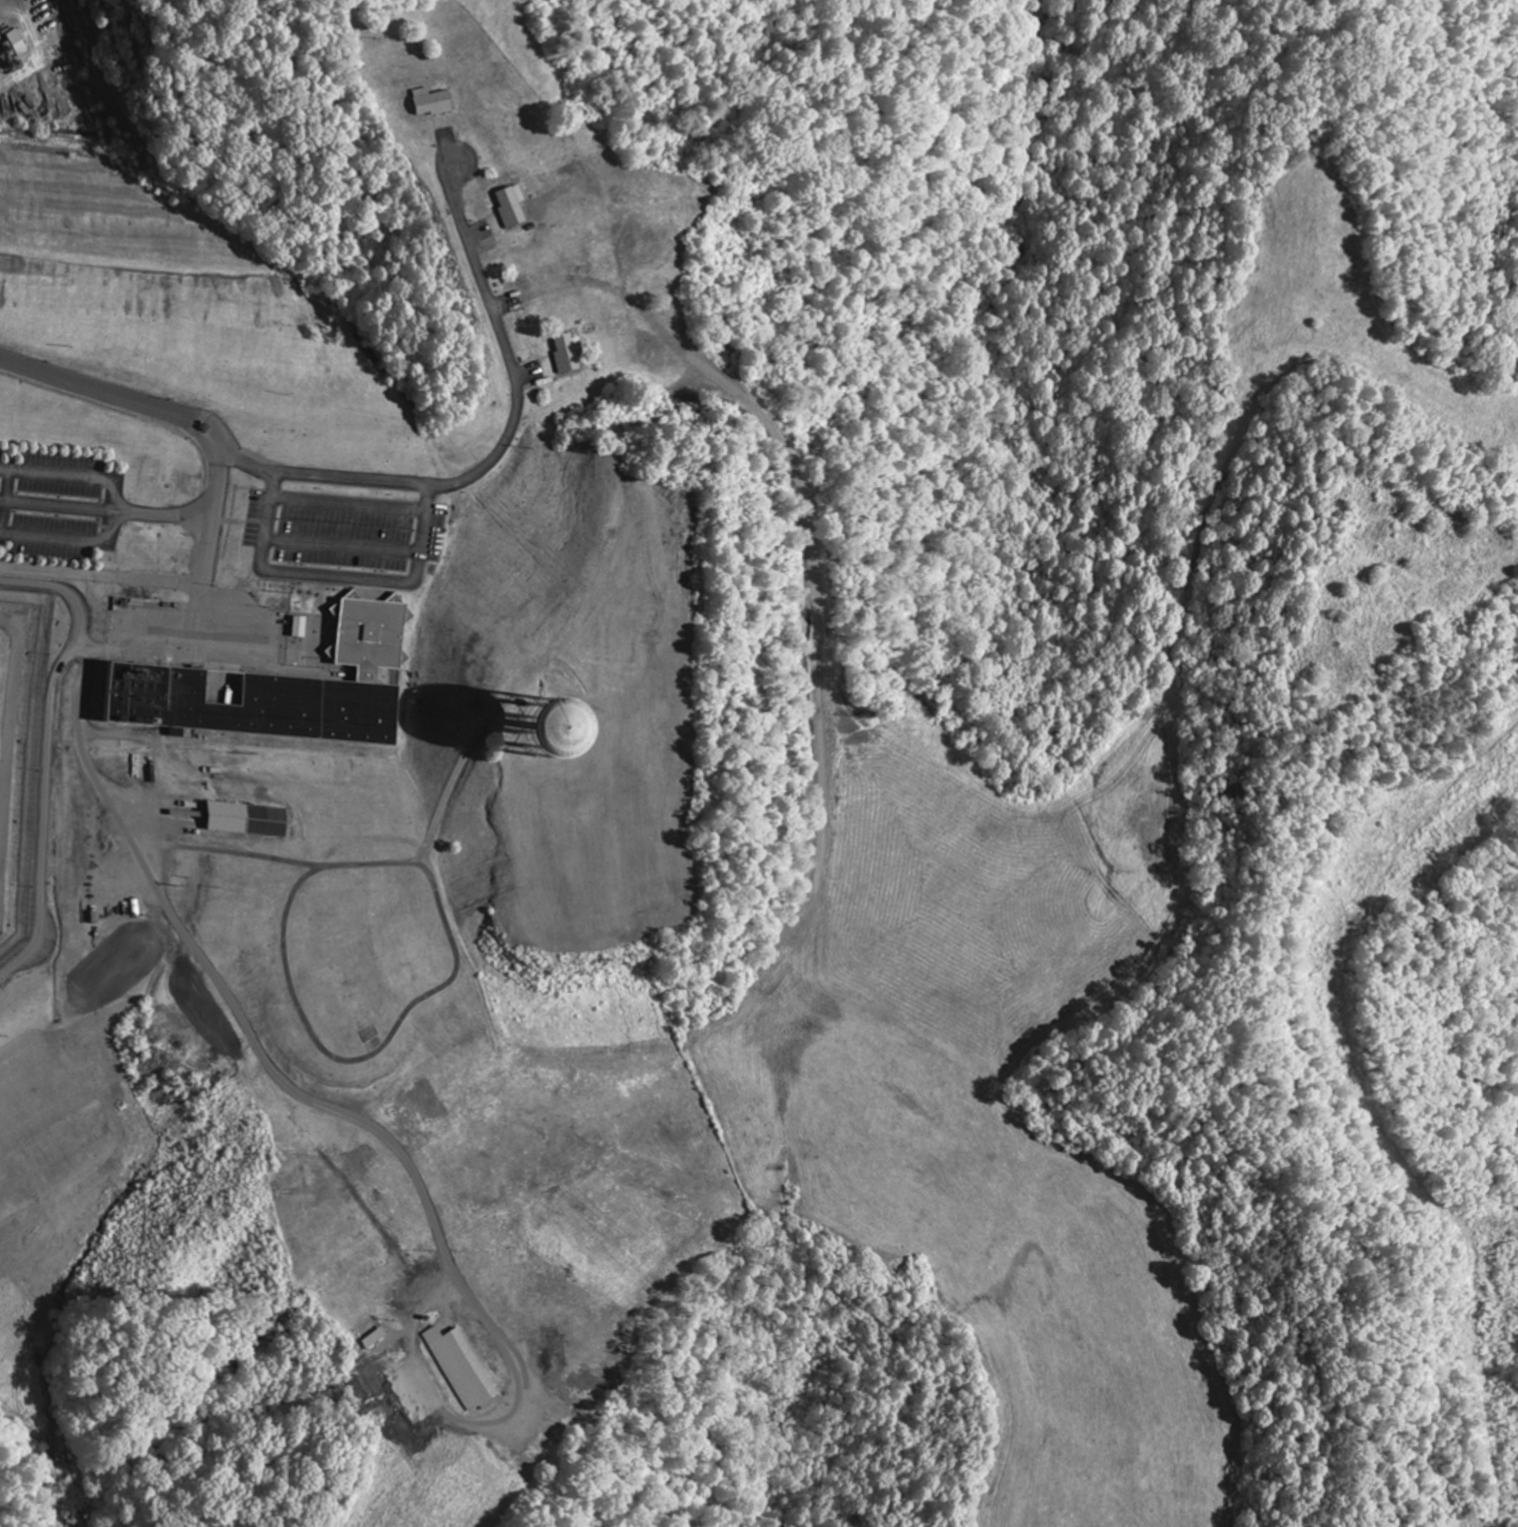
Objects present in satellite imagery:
building: (438, 102)
road: (476, 166)
building: (519, 207)
building: (575, 354)
road: (378, 481)
parking lot: (56, 505)
building: (288, 689)
water tower: (550, 731)
building: (246, 820)
building: (464, 1368)

